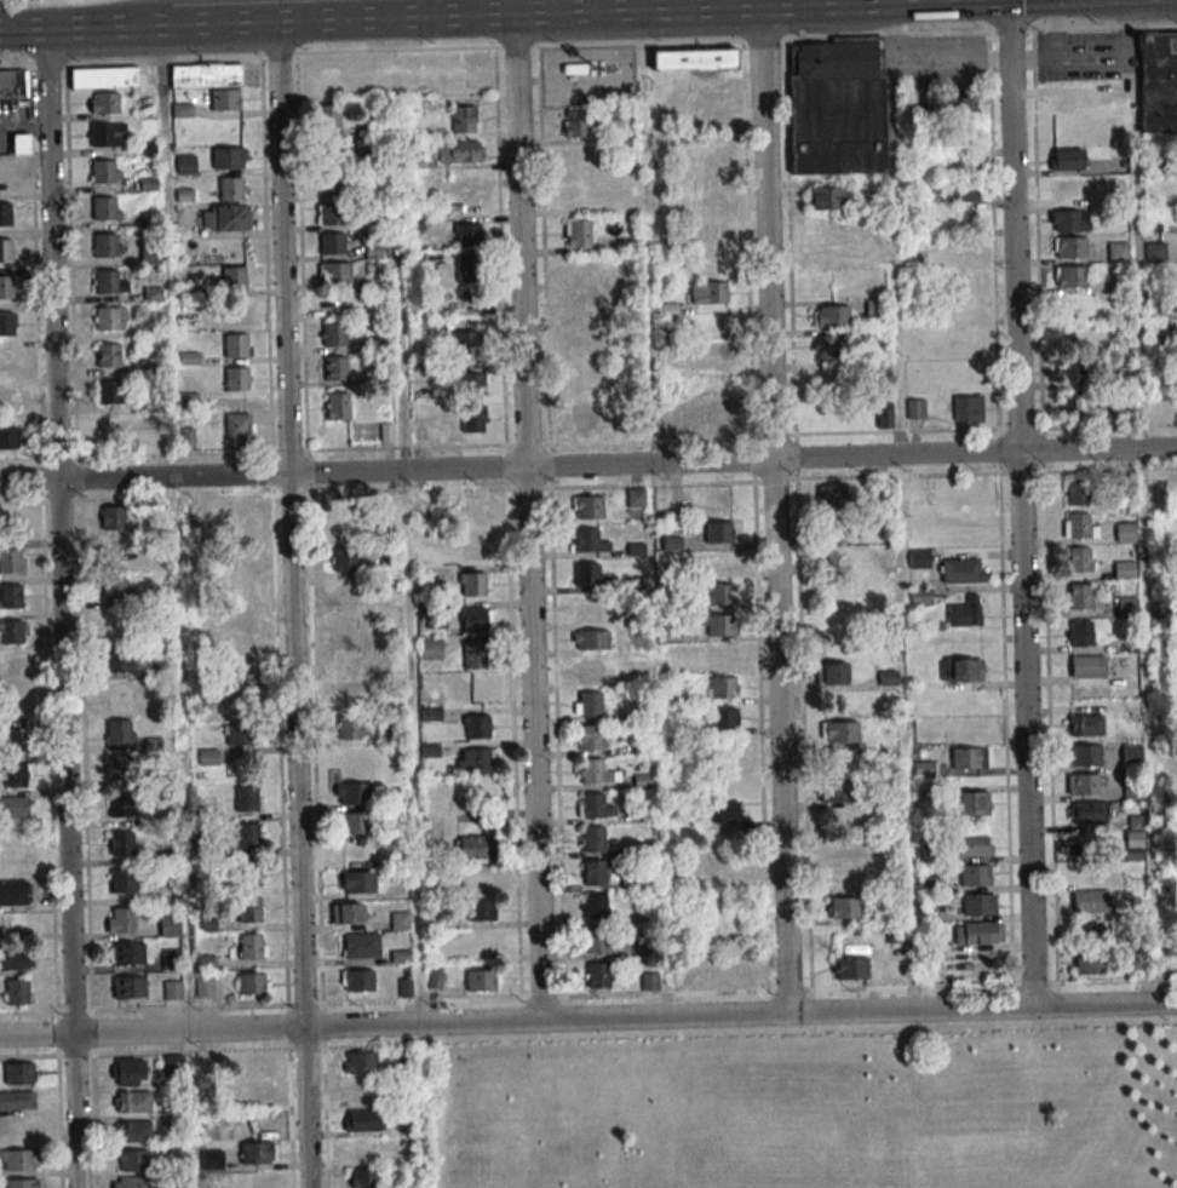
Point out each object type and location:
road: (875, 1)
road: (690, 4)
road: (513, 6)
road: (620, 8)
road: (117, 13)
road: (304, 19)
road: (102, 25)
road: (587, 42)
building: (694, 58)
building: (104, 78)
building: (212, 82)
building: (1158, 82)
building: (12, 84)
building: (702, 97)
building: (104, 102)
building: (1069, 105)
building: (959, 107)
building: (837, 108)
building: (328, 116)
building: (464, 119)
building: (576, 127)
building: (108, 136)
building: (706, 145)
building: (149, 148)
building: (328, 151)
building: (460, 151)
building: (229, 159)
building: (576, 159)
building: (1068, 159)
building: (104, 171)
building: (708, 174)
building: (5, 177)
building: (332, 183)
building: (231, 188)
building: (1070, 188)
building: (955, 193)
building: (827, 197)
building: (463, 199)
building: (712, 203)
building: (105, 208)
building: (6, 213)
building: (331, 214)
building: (226, 218)
building: (1069, 220)
road: (1015, 226)
building: (578, 233)
building: (713, 233)
building: (469, 234)
building: (332, 243)
building: (107, 245)
building: (1070, 247)
building: (6, 251)
building: (1119, 252)
building: (1155, 252)
building: (958, 253)
building: (713, 263)
building: (579, 269)
building: (470, 270)
building: (334, 272)
building: (1070, 276)
building: (234, 277)
building: (108, 282)
building: (6, 287)
building: (707, 292)
building: (1175, 302)
building: (338, 303)
building: (1076, 304)
building: (873, 306)
building: (1153, 312)
building: (831, 316)
building: (110, 318)
building: (6, 325)
building: (333, 334)
building: (467, 342)
building: (585, 343)
building: (235, 344)
building: (826, 348)
building: (712, 349)
building: (108, 355)
building: (7, 361)
building: (334, 368)
building: (1076, 368)
building: (1124, 373)
building: (236, 378)
building: (584, 378)
building: (829, 379)
building: (472, 384)
building: (668, 388)
building: (111, 392)
building: (7, 400)
building: (1072, 404)
building: (337, 406)
building: (915, 408)
building: (968, 408)
building: (581, 415)
building: (885, 418)
building: (473, 421)
building: (239, 427)
building: (110, 429)
building: (8, 437)
road: (588, 466)
building: (1075, 492)
building: (833, 495)
building: (587, 506)
road: (773, 510)
building: (473, 511)
building: (239, 515)
building: (113, 517)
road: (527, 517)
building: (920, 518)
building: (11, 520)
building: (348, 520)
building: (1079, 526)
building: (719, 532)
building: (1125, 532)
building: (590, 540)
building: (472, 547)
building: (918, 550)
road: (901, 551)
road: (1143, 552)
building: (117, 553)
building: (837, 558)
building: (344, 559)
building: (1080, 559)
building: (10, 561)
building: (722, 563)
building: (1124, 569)
building: (961, 570)
building: (436, 575)
building: (588, 575)
building: (241, 582)
building: (473, 584)
building: (116, 589)
building: (348, 593)
building: (719, 593)
building: (10, 596)
building: (920, 596)
building: (1080, 596)
road: (291, 604)
building: (1126, 606)
road: (58, 608)
building: (587, 609)
building: (966, 612)
building: (459, 620)
building: (718, 625)
building: (117, 626)
building: (346, 626)
building: (11, 632)
building: (1081, 632)
building: (591, 639)
building: (242, 649)
building: (432, 649)
building: (475, 655)
building: (724, 655)
road: (409, 659)
building: (117, 660)
building: (345, 661)
building: (1086, 666)
building: (11, 667)
building: (592, 670)
building: (961, 670)
building: (834, 672)
building: (240, 684)
building: (723, 687)
building: (350, 693)
building: (119, 696)
building: (15, 704)
building: (590, 704)
building: (724, 718)
building: (1085, 725)
building: (352, 727)
building: (477, 727)
road: (1024, 730)
building: (120, 731)
building: (839, 731)
building: (241, 734)
building: (590, 738)
building: (12, 739)
building: (1084, 754)
building: (969, 757)
building: (1131, 757)
building: (475, 761)
building: (119, 768)
building: (596, 771)
building: (16, 775)
building: (642, 781)
building: (1083, 784)
building: (826, 791)
building: (352, 793)
building: (246, 797)
building: (972, 803)
building: (122, 805)
building: (593, 807)
building: (12, 808)
building: (727, 811)
building: (1087, 813)
building: (354, 822)
building: (1135, 831)
building: (249, 836)
building: (593, 838)
building: (121, 843)
building: (974, 845)
building: (475, 846)
building: (356, 853)
building: (595, 872)
building: (248, 873)
building: (976, 874)
building: (723, 877)
building: (481, 878)
building: (843, 878)
building: (124, 880)
building: (356, 882)
building: (12, 893)
building: (1090, 901)
building: (978, 903)
building: (595, 906)
building: (843, 907)
building: (249, 909)
building: (481, 911)
building: (348, 913)
building: (120, 920)
building: (400, 920)
building: (170, 926)
building: (1091, 929)
building: (977, 932)
building: (598, 940)
building: (252, 946)
building: (360, 946)
building: (126, 953)
building: (167, 958)
building: (13, 959)
building: (1089, 963)
building: (851, 968)
building: (736, 971)
building: (597, 975)
building: (357, 980)
building: (482, 980)
building: (649, 981)
building: (253, 985)
building: (203, 986)
building: (130, 987)
building: (172, 989)
building: (17, 991)
road: (587, 1020)
building: (358, 1062)
building: (172, 1063)
building: (256, 1064)
building: (130, 1072)
building: (18, 1073)
building: (256, 1094)
building: (16, 1100)
building: (131, 1102)
park: (803, 1107)
building: (363, 1120)
building: (133, 1131)
building: (362, 1149)
building: (258, 1153)
building: (19, 1159)
building: (212, 1159)
building: (134, 1160)
building: (364, 1178)
building: (260, 1180)
building: (132, 1182)
building: (22, 1183)

